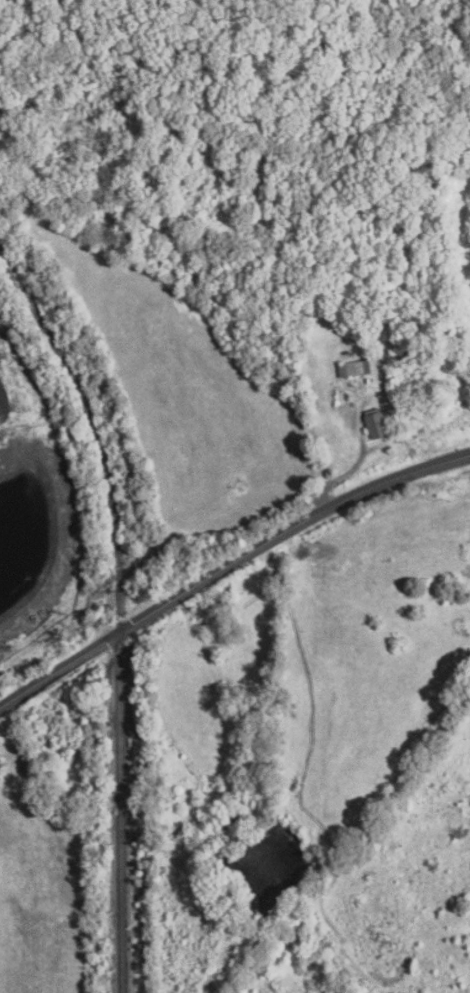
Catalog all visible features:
building: (357, 367)
building: (375, 424)
road: (227, 567)
railway: (120, 608)

